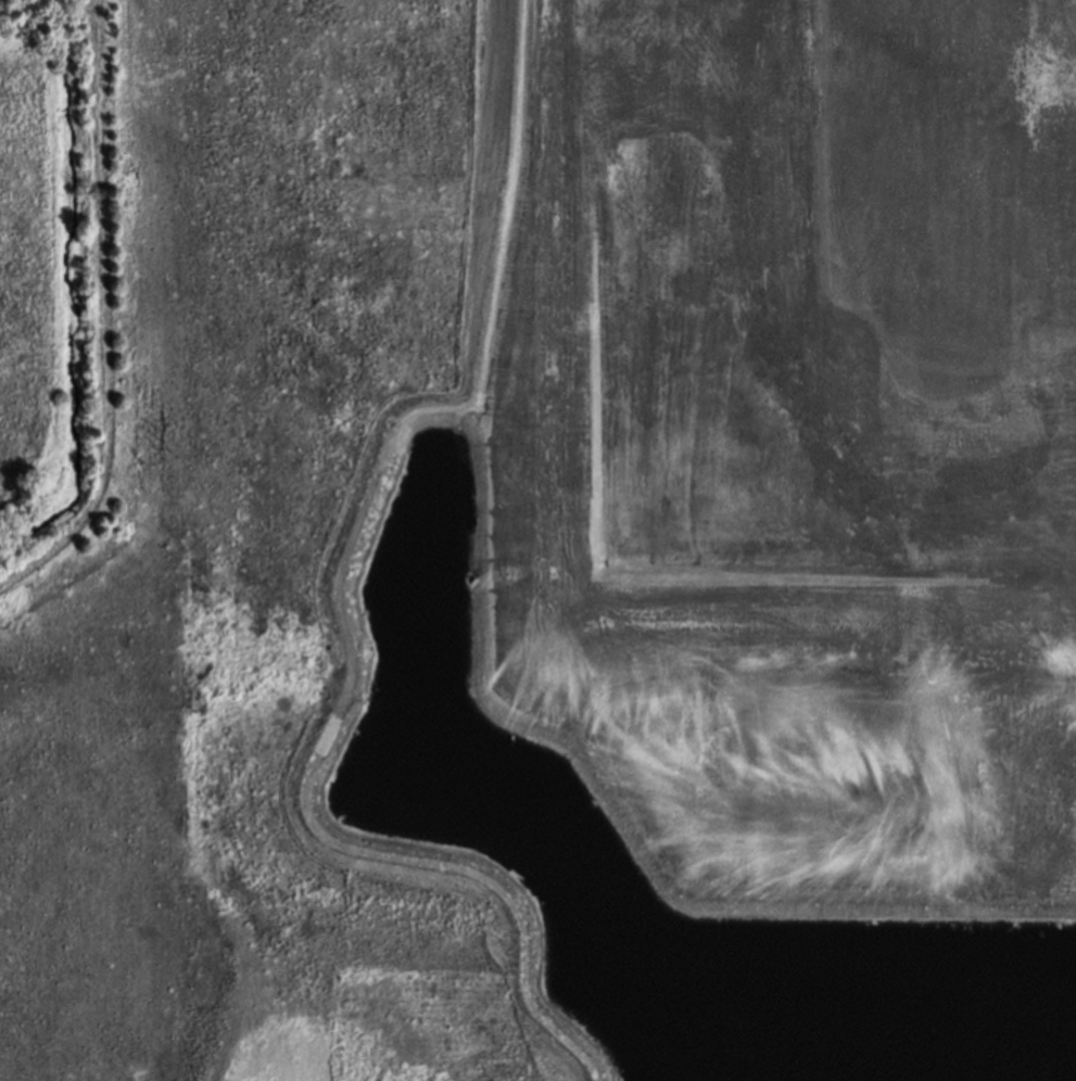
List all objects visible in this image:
road: (103, 314)

